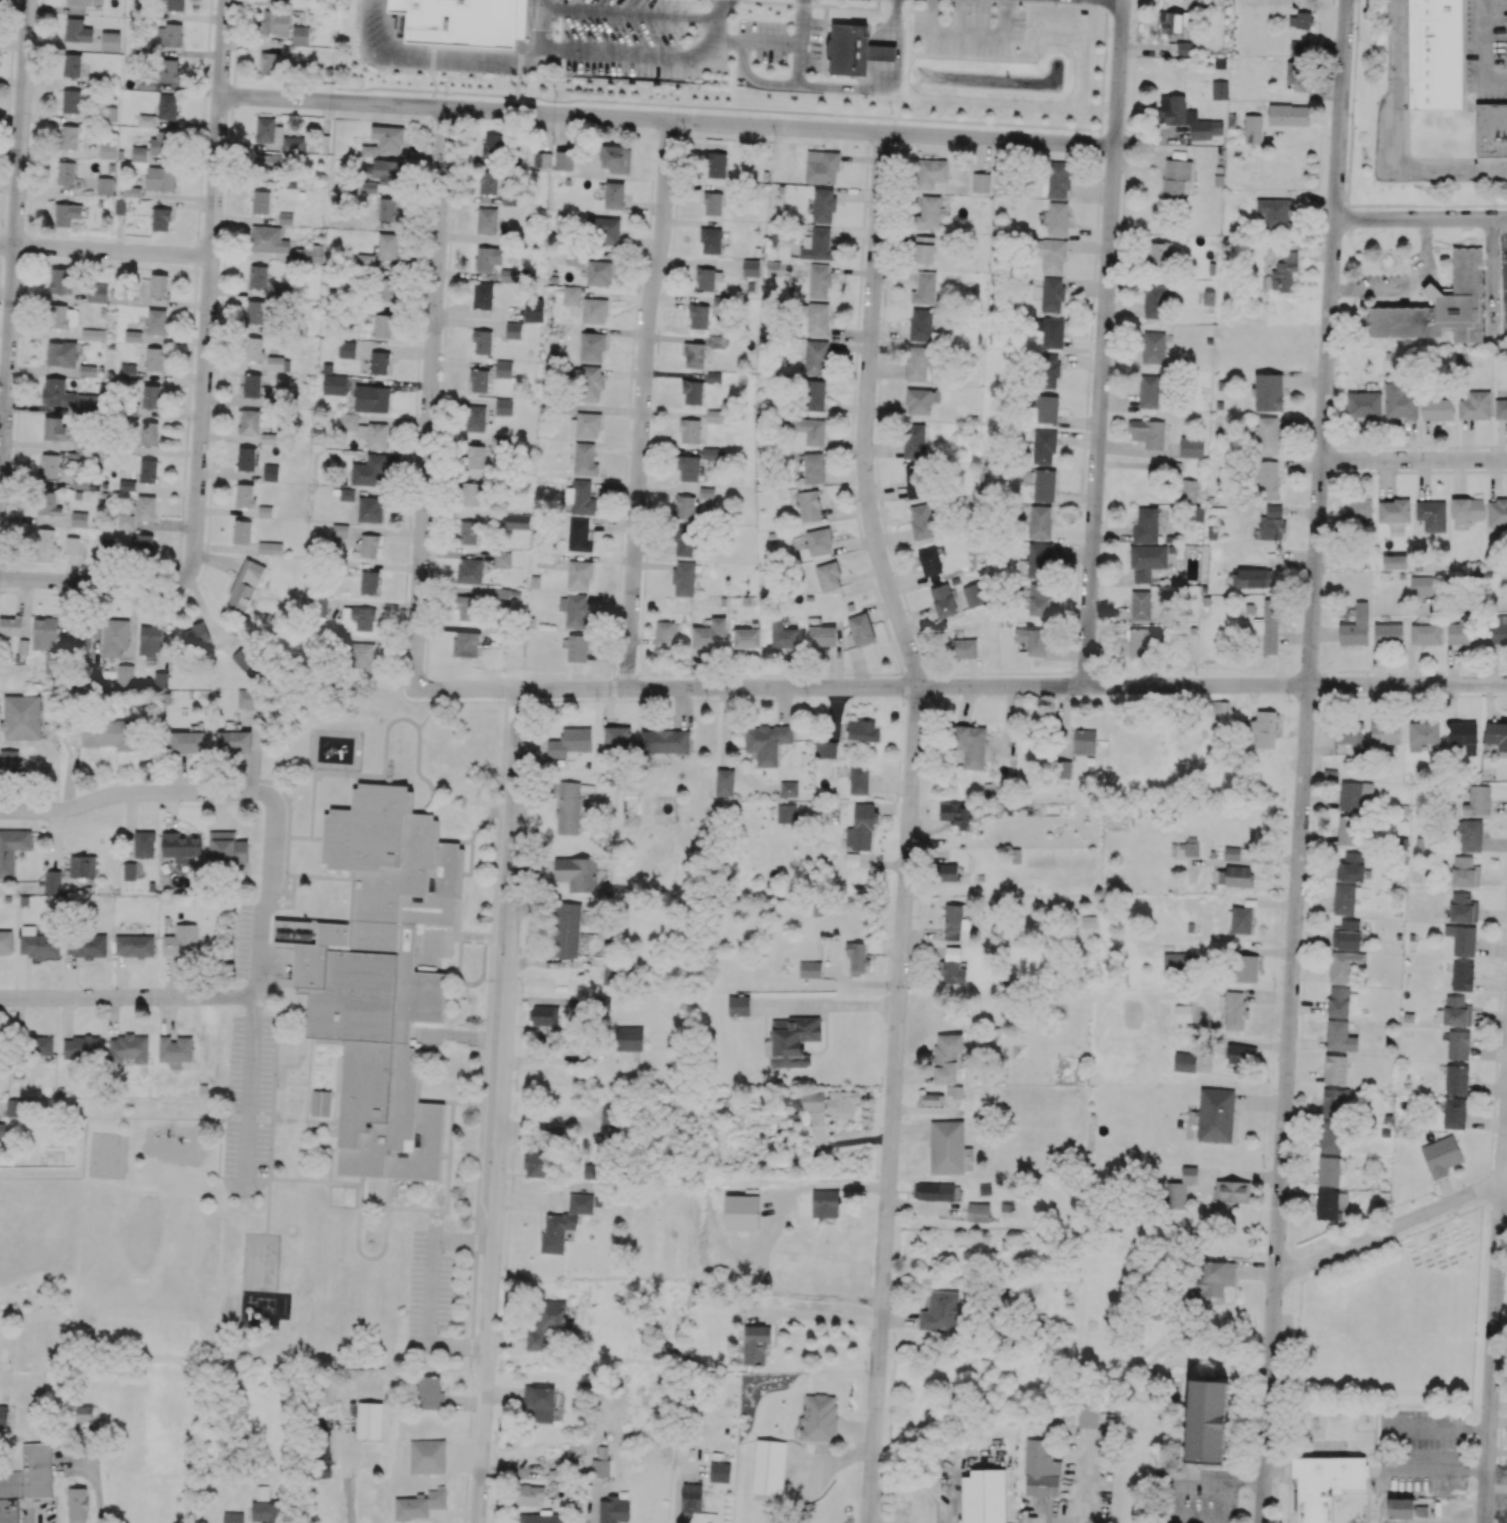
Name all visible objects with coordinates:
road: (877, 3)
building: (77, 6)
road: (630, 11)
building: (275, 22)
building: (462, 22)
road: (891, 22)
building: (1170, 22)
building: (77, 30)
building: (169, 34)
building: (300, 34)
road: (777, 38)
building: (110, 40)
building: (1184, 48)
building: (853, 49)
road: (1483, 50)
road: (890, 52)
building: (1435, 54)
road: (460, 57)
road: (650, 57)
road: (798, 61)
building: (270, 63)
building: (72, 64)
building: (170, 69)
road: (517, 71)
road: (430, 73)
building: (1297, 74)
building: (147, 83)
road: (808, 83)
building: (1220, 89)
building: (71, 100)
building: (167, 105)
building: (1288, 114)
building: (1187, 118)
road: (667, 119)
building: (147, 120)
building: (1252, 128)
building: (1491, 130)
building: (277, 135)
building: (69, 136)
road: (1391, 137)
building: (388, 138)
building: (161, 143)
building: (494, 144)
building: (107, 150)
building: (368, 150)
building: (139, 153)
building: (617, 158)
building: (541, 159)
building: (563, 160)
building: (267, 162)
building: (716, 164)
building: (821, 166)
building: (387, 170)
building: (66, 172)
building: (931, 173)
building: (160, 178)
building: (1056, 179)
building: (1175, 179)
building: (488, 182)
building: (981, 182)
building: (104, 185)
building: (370, 187)
building: (131, 191)
building: (614, 195)
building: (260, 201)
building: (713, 203)
building: (823, 205)
building: (387, 209)
building: (929, 212)
building: (67, 213)
building: (1275, 213)
building: (285, 218)
building: (1057, 218)
road: (1420, 218)
building: (161, 219)
building: (486, 219)
building: (604, 230)
road: (14, 239)
building: (268, 239)
building: (711, 240)
building: (388, 245)
building: (817, 245)
building: (924, 249)
road: (105, 250)
building: (309, 253)
building: (1159, 253)
building: (1050, 255)
building: (487, 258)
building: (573, 258)
building: (1506, 259)
building: (750, 268)
building: (773, 268)
building: (1285, 271)
building: (598, 273)
building: (506, 275)
road: (1506, 276)
building: (707, 279)
building: (60, 280)
building: (265, 280)
building: (819, 281)
building: (158, 285)
building: (924, 288)
road: (1409, 288)
road: (209, 289)
building: (385, 289)
building: (97, 292)
building: (1052, 294)
building: (119, 295)
building: (482, 295)
building: (573, 295)
building: (1153, 301)
building: (1440, 306)
building: (530, 309)
building: (594, 310)
building: (255, 311)
building: (63, 316)
building: (698, 316)
building: (817, 319)
building: (156, 321)
building: (383, 325)
building: (921, 325)
building: (513, 330)
building: (1051, 331)
building: (92, 334)
building: (132, 335)
road: (1506, 335)
building: (482, 341)
building: (717, 341)
road: (1103, 343)
building: (592, 346)
building: (1153, 347)
building: (253, 348)
building: (347, 349)
building: (61, 353)
building: (694, 354)
building: (815, 357)
building: (154, 358)
building: (379, 362)
building: (278, 363)
building: (917, 363)
building: (503, 368)
building: (87, 370)
building: (128, 370)
building: (1048, 370)
building: (479, 380)
building: (591, 382)
building: (334, 384)
building: (252, 385)
building: (1149, 391)
building: (1268, 391)
building: (56, 392)
building: (692, 392)
building: (814, 395)
building: (151, 396)
road: (429, 396)
building: (371, 398)
building: (1400, 399)
building: (921, 400)
building: (88, 402)
road: (642, 403)
building: (1364, 404)
building: (1475, 405)
building: (504, 406)
building: (1045, 407)
building: (1500, 408)
building: (1437, 409)
building: (715, 415)
building: (475, 418)
building: (249, 421)
building: (585, 425)
building: (54, 427)
building: (365, 430)
building: (690, 430)
building: (811, 430)
building: (1147, 432)
building: (149, 433)
building: (1268, 435)
building: (271, 438)
building: (914, 441)
building: (1043, 446)
building: (1191, 447)
building: (712, 453)
building: (475, 456)
building: (245, 458)
building: (585, 459)
road: (1414, 459)
building: (49, 465)
building: (689, 468)
building: (813, 468)
building: (148, 470)
building: (369, 470)
building: (270, 472)
building: (1268, 480)
building: (83, 481)
building: (916, 481)
building: (1044, 484)
building: (1188, 488)
building: (471, 494)
building: (245, 495)
building: (706, 496)
building: (346, 497)
building: (581, 497)
building: (48, 503)
building: (809, 505)
building: (146, 507)
building: (685, 507)
building: (1467, 508)
building: (369, 509)
building: (1358, 510)
building: (264, 511)
building: (1393, 511)
building: (1497, 513)
building: (1432, 515)
building: (78, 518)
building: (125, 521)
building: (517, 521)
building: (922, 521)
building: (1040, 522)
building: (1272, 523)
building: (1146, 525)
building: (340, 530)
building: (242, 531)
building: (468, 532)
building: (579, 535)
building: (685, 539)
building: (819, 541)
building: (143, 542)
building: (44, 545)
building: (72, 545)
building: (368, 545)
building: (270, 547)
building: (502, 559)
building: (545, 560)
building: (1039, 560)
building: (930, 561)
building: (1395, 561)
building: (1147, 562)
building: (469, 570)
building: (579, 575)
building: (828, 576)
building: (683, 578)
building: (1252, 578)
road: (93, 581)
building: (369, 582)
building: (245, 584)
building: (1421, 585)
building: (974, 594)
building: (506, 595)
building: (1039, 599)
building: (943, 601)
building: (318, 605)
building: (1141, 605)
building: (466, 607)
building: (574, 609)
building: (360, 617)
building: (10, 625)
building: (1268, 626)
building: (1356, 626)
building: (861, 629)
building: (1496, 629)
building: (117, 632)
building: (1462, 632)
building: (45, 633)
building: (664, 633)
building: (1388, 633)
building: (1425, 633)
building: (79, 634)
building: (195, 634)
building: (711, 634)
building: (784, 634)
building: (822, 635)
building: (746, 637)
building: (149, 640)
building: (1032, 640)
building: (1141, 641)
building: (466, 643)
building: (577, 648)
building: (964, 648)
building: (361, 655)
building: (53, 662)
building: (247, 663)
building: (160, 679)
road: (962, 686)
building: (248, 698)
building: (1220, 707)
building: (21, 717)
building: (1264, 728)
building: (863, 729)
building: (109, 733)
building: (1384, 733)
building: (1422, 734)
building: (1464, 735)
building: (617, 736)
building: (1497, 736)
building: (1348, 739)
building: (233, 740)
building: (664, 740)
building: (1084, 741)
building: (570, 742)
building: (767, 742)
building: (970, 745)
building: (825, 749)
building: (9, 761)
road: (1304, 761)
building: (1063, 769)
building: (858, 779)
building: (725, 782)
building: (789, 788)
road: (127, 792)
building: (1353, 794)
building: (1477, 800)
building: (568, 807)
building: (786, 813)
building: (959, 815)
road: (908, 824)
building: (861, 826)
building: (1348, 830)
building: (1469, 834)
building: (144, 843)
building: (182, 846)
building: (1191, 846)
building: (228, 848)
building: (12, 849)
building: (1231, 853)
building: (852, 859)
building: (82, 866)
building: (1350, 867)
building: (129, 870)
building: (1465, 871)
building: (947, 872)
building: (577, 873)
building: (1236, 876)
building: (52, 881)
road: (271, 890)
building: (1344, 899)
building: (1463, 908)
building: (1241, 920)
building: (953, 921)
building: (570, 931)
building: (1347, 934)
building: (1462, 939)
building: (181, 940)
building: (6, 941)
building: (38, 943)
building: (86, 945)
building: (134, 945)
building: (857, 957)
building: (1177, 962)
building: (1345, 965)
building: (952, 967)
building: (1245, 968)
building: (810, 969)
building: (1462, 975)
building: (611, 976)
building: (379, 977)
road: (126, 997)
building: (1338, 1001)
building: (739, 1006)
building: (1235, 1010)
building: (1456, 1011)
building: (1182, 1012)
building: (545, 1015)
building: (1339, 1036)
building: (628, 1038)
building: (791, 1041)
building: (42, 1044)
building: (1458, 1044)
building: (82, 1046)
building: (128, 1048)
building: (175, 1048)
building: (1242, 1054)
building: (946, 1057)
building: (1184, 1061)
building: (1335, 1069)
building: (1456, 1079)
road: (247, 1086)
building: (931, 1099)
building: (813, 1101)
building: (842, 1102)
building: (321, 1103)
building: (1335, 1103)
road: (501, 1105)
building: (14, 1107)
building: (1454, 1113)
building: (609, 1114)
building: (1215, 1115)
building: (2, 1129)
building: (1331, 1136)
building: (947, 1147)
building: (1441, 1156)
building: (536, 1161)
building: (593, 1171)
building: (1329, 1171)
building: (1180, 1188)
building: (934, 1191)
building: (1232, 1191)
building: (1343, 1201)
building: (822, 1202)
building: (1328, 1205)
building: (741, 1211)
building: (978, 1212)
building: (564, 1222)
road: (1392, 1226)
building: (1213, 1278)
building: (940, 1311)
road: (825, 1315)
road: (1494, 1319)
building: (547, 1323)
building: (756, 1345)
building: (429, 1392)
building: (540, 1402)
building: (84, 1413)
building: (3, 1416)
building: (1087, 1416)
building: (819, 1417)
building: (369, 1420)
building: (1206, 1421)
road: (1386, 1446)
building: (322, 1448)
building: (427, 1456)
building: (600, 1467)
building: (768, 1467)
building: (1040, 1469)
building: (719, 1472)
road: (1218, 1478)
building: (25, 1480)
road: (348, 1483)
building: (1324, 1483)
road: (1077, 1487)
building: (528, 1493)
building: (983, 1496)
building: (691, 1497)
building: (419, 1504)
building: (77, 1505)
building: (1404, 1508)
building: (613, 1510)
building: (266, 1511)
building: (232, 1517)
building: (542, 1518)

